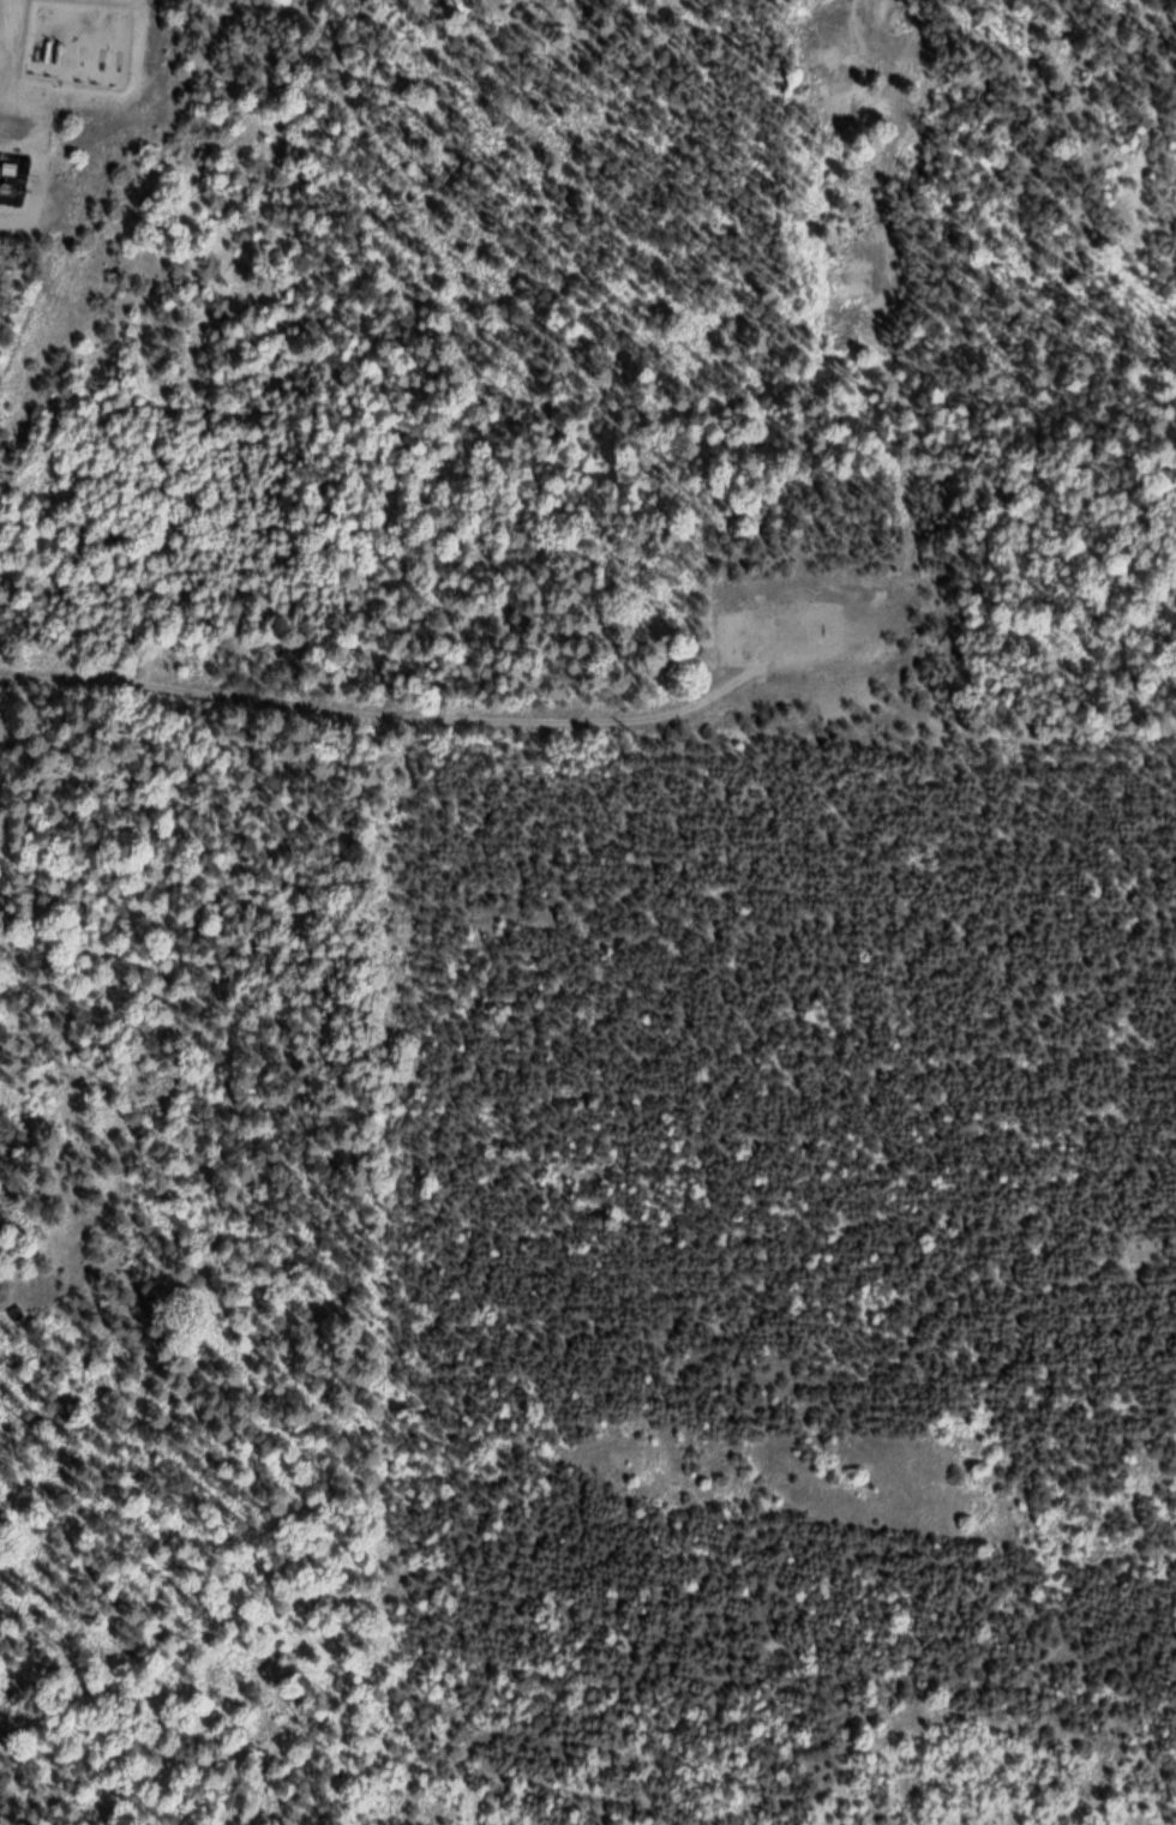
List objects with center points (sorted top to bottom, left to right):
building: (463, 5)
road: (400, 701)

